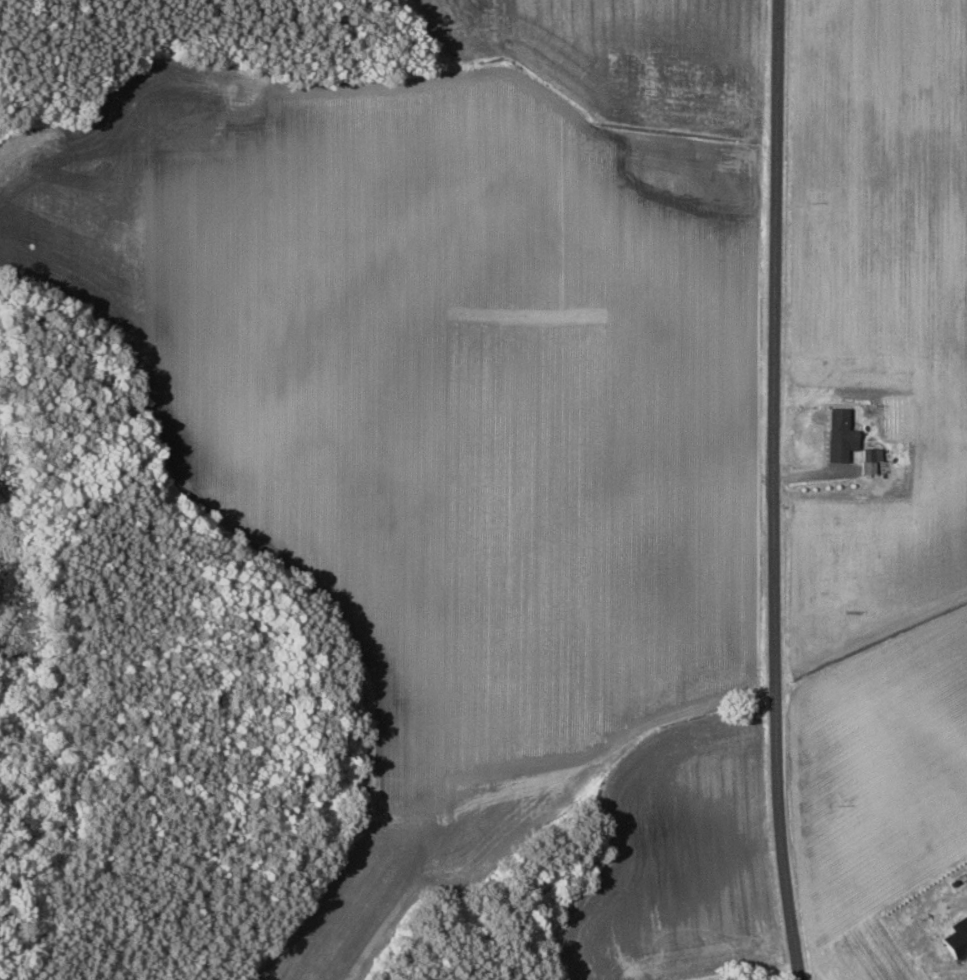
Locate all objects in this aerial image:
building: (839, 436)
building: (869, 460)
road: (783, 490)
building: (956, 937)
building: (715, 979)

